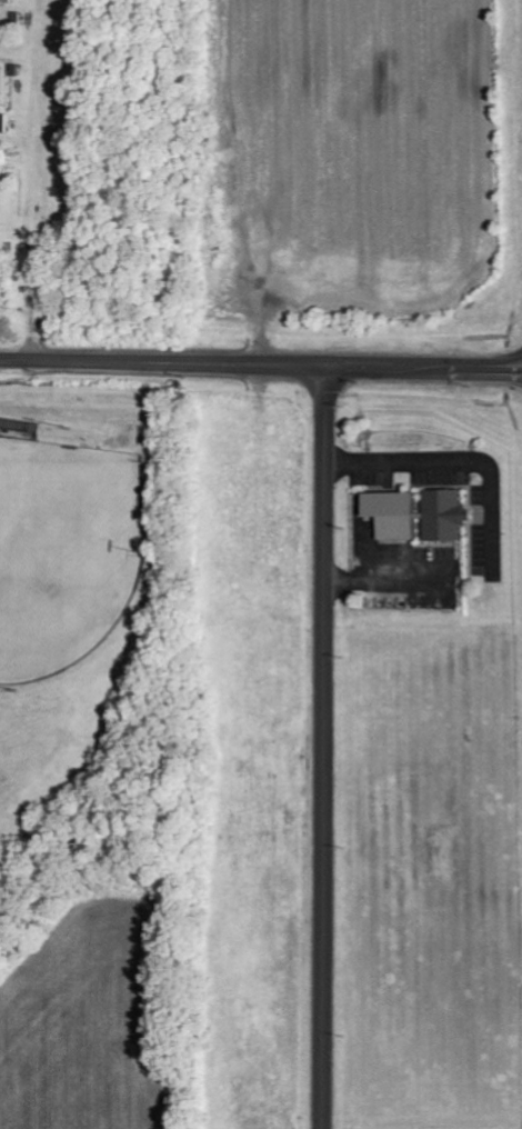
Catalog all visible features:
building: (2, 123)
road: (261, 360)
building: (443, 516)
park: (67, 551)
road: (324, 745)

